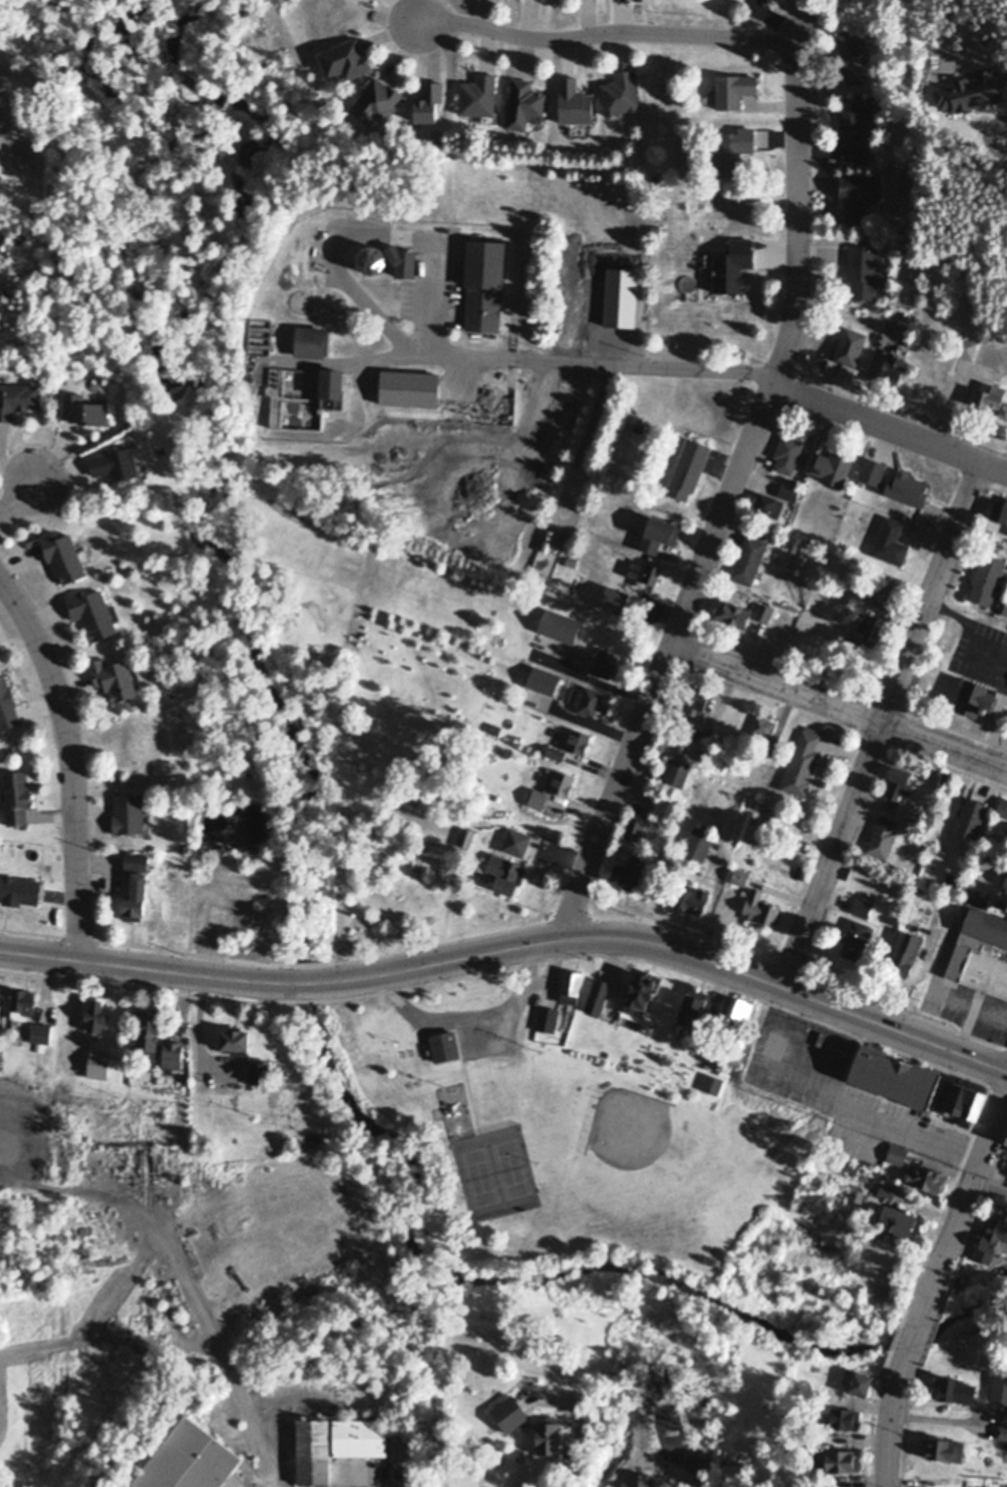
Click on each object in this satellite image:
building: (860, 0)
road: (607, 31)
building: (852, 54)
building: (345, 62)
building: (733, 92)
building: (620, 95)
building: (478, 97)
building: (377, 104)
building: (523, 106)
building: (853, 130)
building: (733, 153)
building: (656, 178)
building: (858, 195)
building: (698, 216)
road: (383, 232)
building: (372, 259)
building: (405, 259)
building: (863, 273)
building: (599, 281)
building: (484, 282)
building: (896, 309)
building: (608, 313)
building: (900, 317)
building: (311, 336)
building: (963, 342)
building: (848, 345)
road: (378, 357)
building: (892, 364)
road: (769, 375)
building: (332, 380)
building: (409, 384)
building: (989, 391)
building: (18, 393)
building: (86, 403)
building: (638, 427)
building: (787, 455)
building: (116, 457)
building: (688, 467)
building: (832, 467)
building: (870, 471)
road: (735, 479)
building: (906, 487)
building: (787, 494)
road: (23, 499)
building: (767, 505)
building: (999, 508)
building: (658, 530)
building: (890, 539)
building: (64, 548)
building: (748, 559)
building: (571, 562)
building: (644, 570)
building: (987, 576)
building: (876, 590)
building: (614, 597)
building: (1005, 605)
building: (92, 606)
building: (733, 611)
building: (763, 611)
building: (1005, 612)
building: (559, 625)
building: (869, 627)
building: (605, 660)
building: (114, 671)
building: (543, 679)
building: (976, 691)
building: (695, 695)
building: (589, 698)
building: (7, 701)
road: (839, 708)
road: (881, 721)
building: (494, 728)
building: (766, 730)
building: (577, 738)
building: (556, 751)
road: (71, 761)
building: (802, 761)
building: (677, 768)
building: (658, 771)
building: (947, 776)
building: (899, 779)
building: (552, 787)
building: (16, 793)
building: (1002, 805)
building: (128, 807)
building: (970, 815)
building: (634, 826)
building: (466, 835)
building: (882, 835)
building: (516, 840)
building: (697, 843)
building: (502, 869)
building: (628, 870)
building: (740, 873)
building: (135, 881)
building: (1005, 882)
building: (19, 886)
building: (692, 896)
building: (760, 905)
building: (861, 906)
building: (895, 919)
building: (855, 935)
building: (981, 940)
building: (908, 948)
road: (513, 949)
building: (570, 984)
building: (640, 992)
building: (597, 994)
building: (0, 998)
building: (22, 1000)
building: (695, 1007)
building: (738, 1008)
building: (94, 1010)
building: (547, 1018)
road: (470, 1019)
building: (149, 1024)
building: (40, 1030)
building: (236, 1034)
building: (444, 1044)
building: (775, 1045)
building: (172, 1052)
building: (99, 1061)
building: (259, 1065)
building: (894, 1073)
building: (712, 1083)
building: (965, 1097)
road: (899, 1125)
park: (558, 1134)
building: (1006, 1134)
building: (897, 1152)
building: (849, 1165)
park: (665, 1166)
park: (495, 1172)
building: (928, 1174)
building: (892, 1188)
road: (26, 1195)
road: (962, 1206)
building: (897, 1216)
building: (991, 1235)
road: (914, 1335)
building: (858, 1378)
building: (954, 1385)
building: (526, 1398)
building: (845, 1414)
road: (890, 1415)
building: (1002, 1430)
building: (548, 1432)
road: (575, 1438)
building: (336, 1439)
building: (944, 1446)
building: (188, 1455)
building: (836, 1457)
road: (269, 1484)

